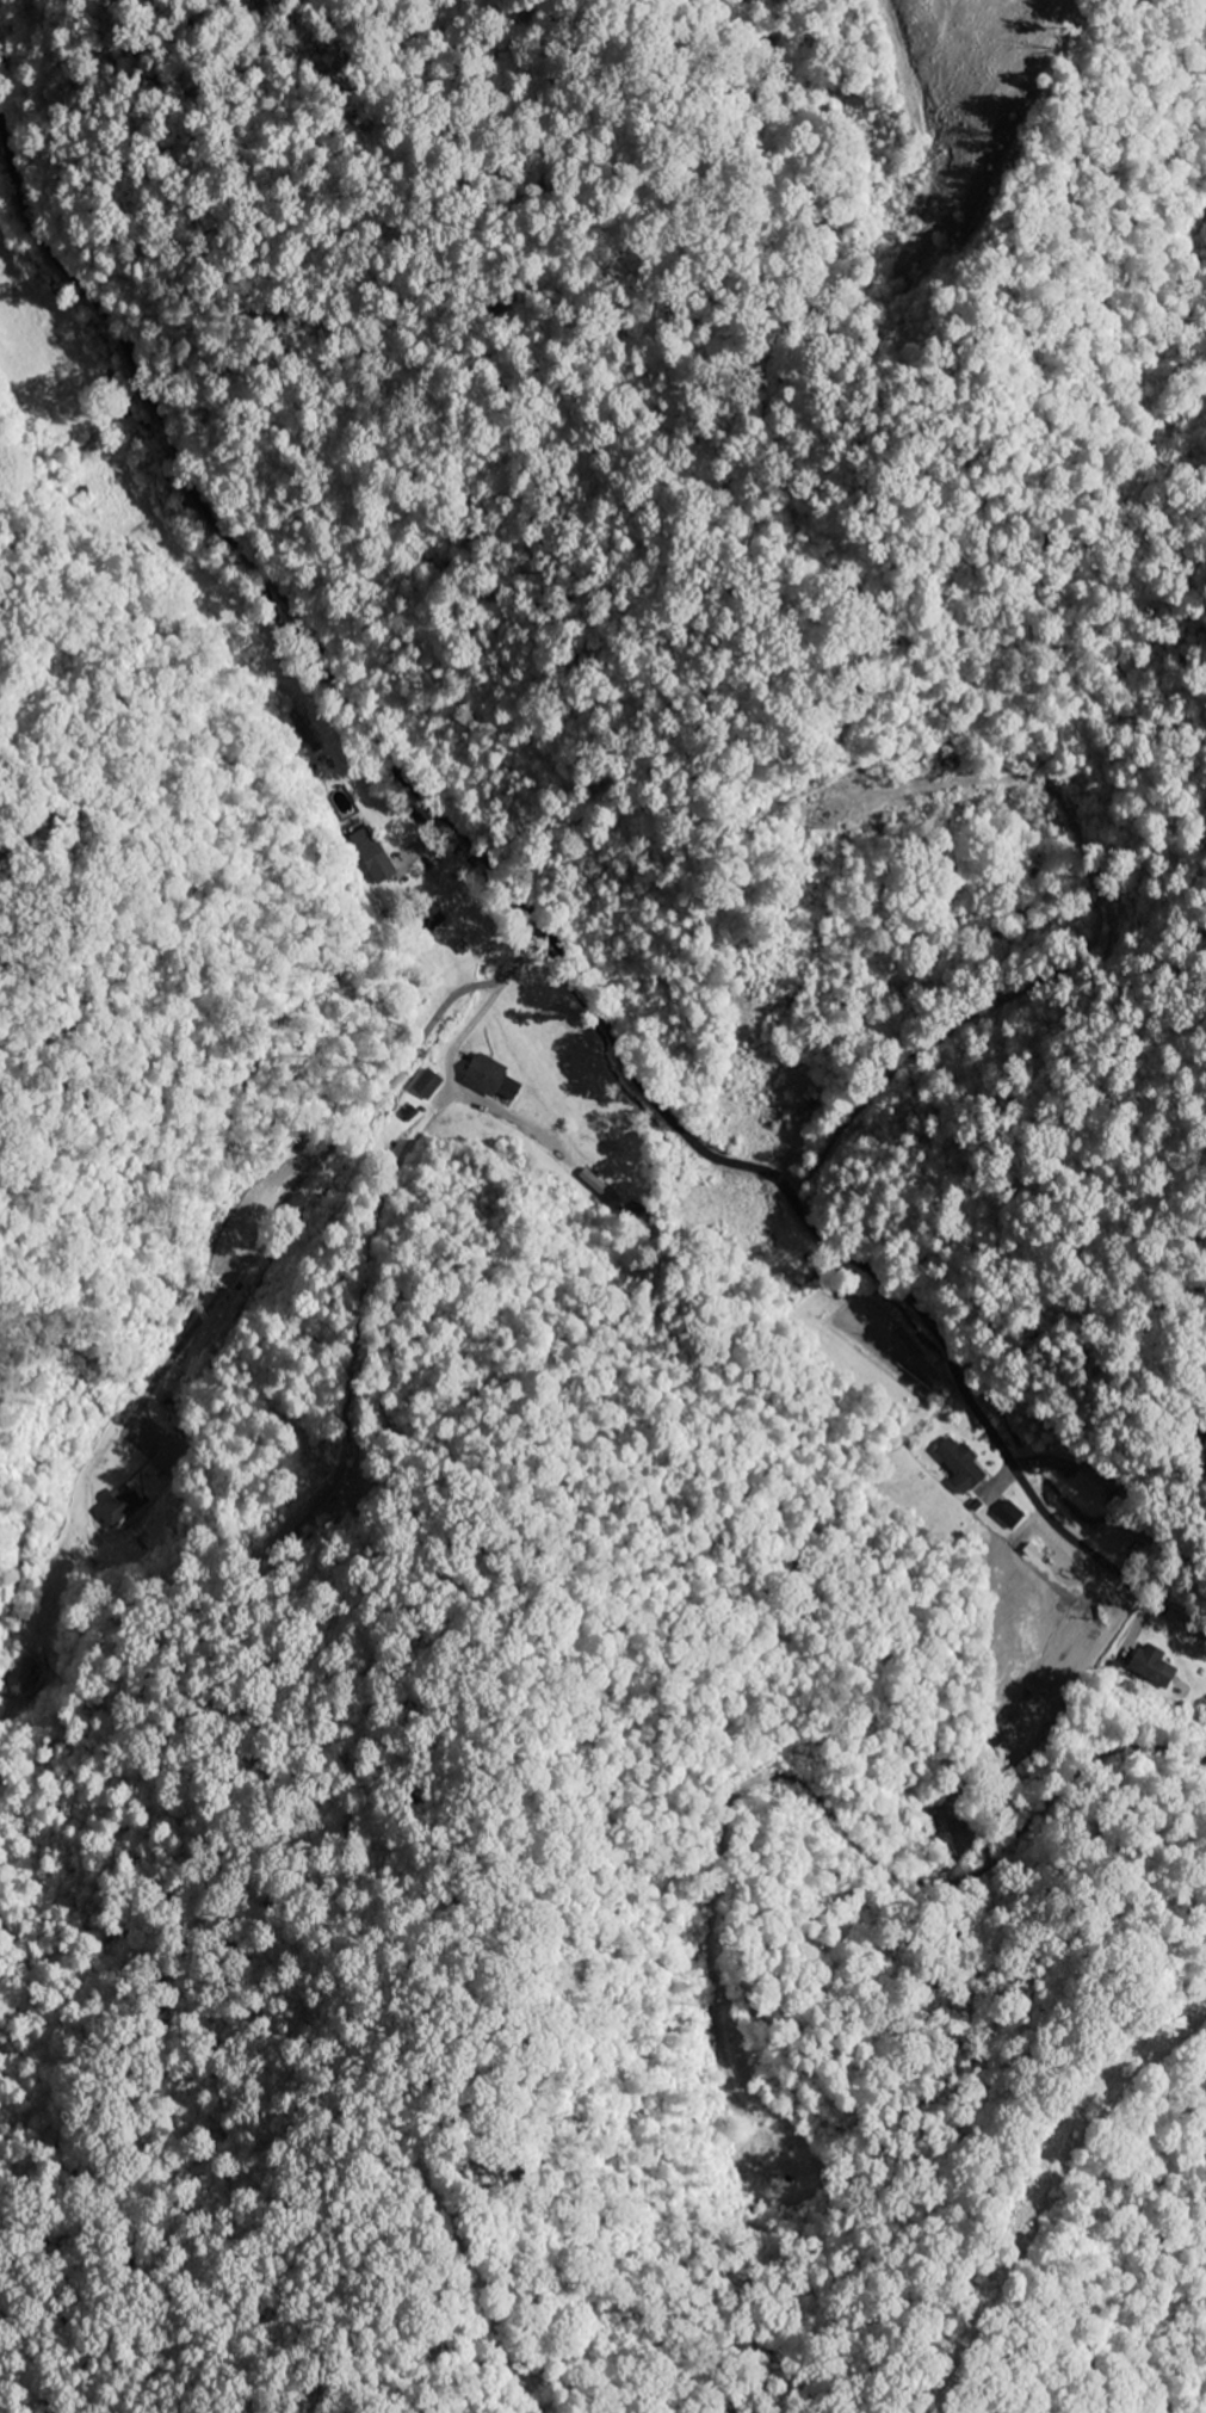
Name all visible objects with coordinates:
river: (0, 1)
building: (372, 856)
building: (429, 920)
road: (545, 933)
building: (490, 1079)
building: (427, 1085)
road: (323, 1155)
building: (172, 1457)
building: (960, 1465)
building: (1091, 1483)
building: (117, 1507)
building: (1010, 1516)
building: (1154, 1667)
building: (20, 1675)

